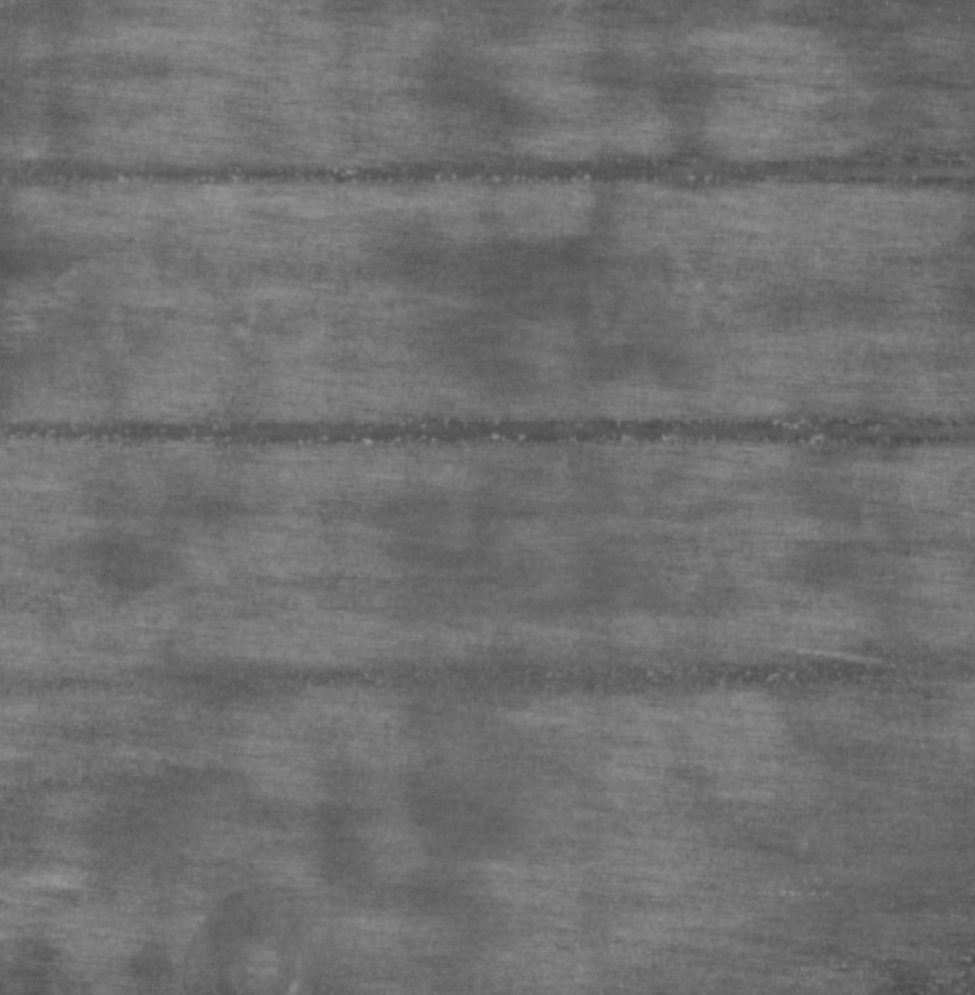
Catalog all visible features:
crop: (487, 497)

